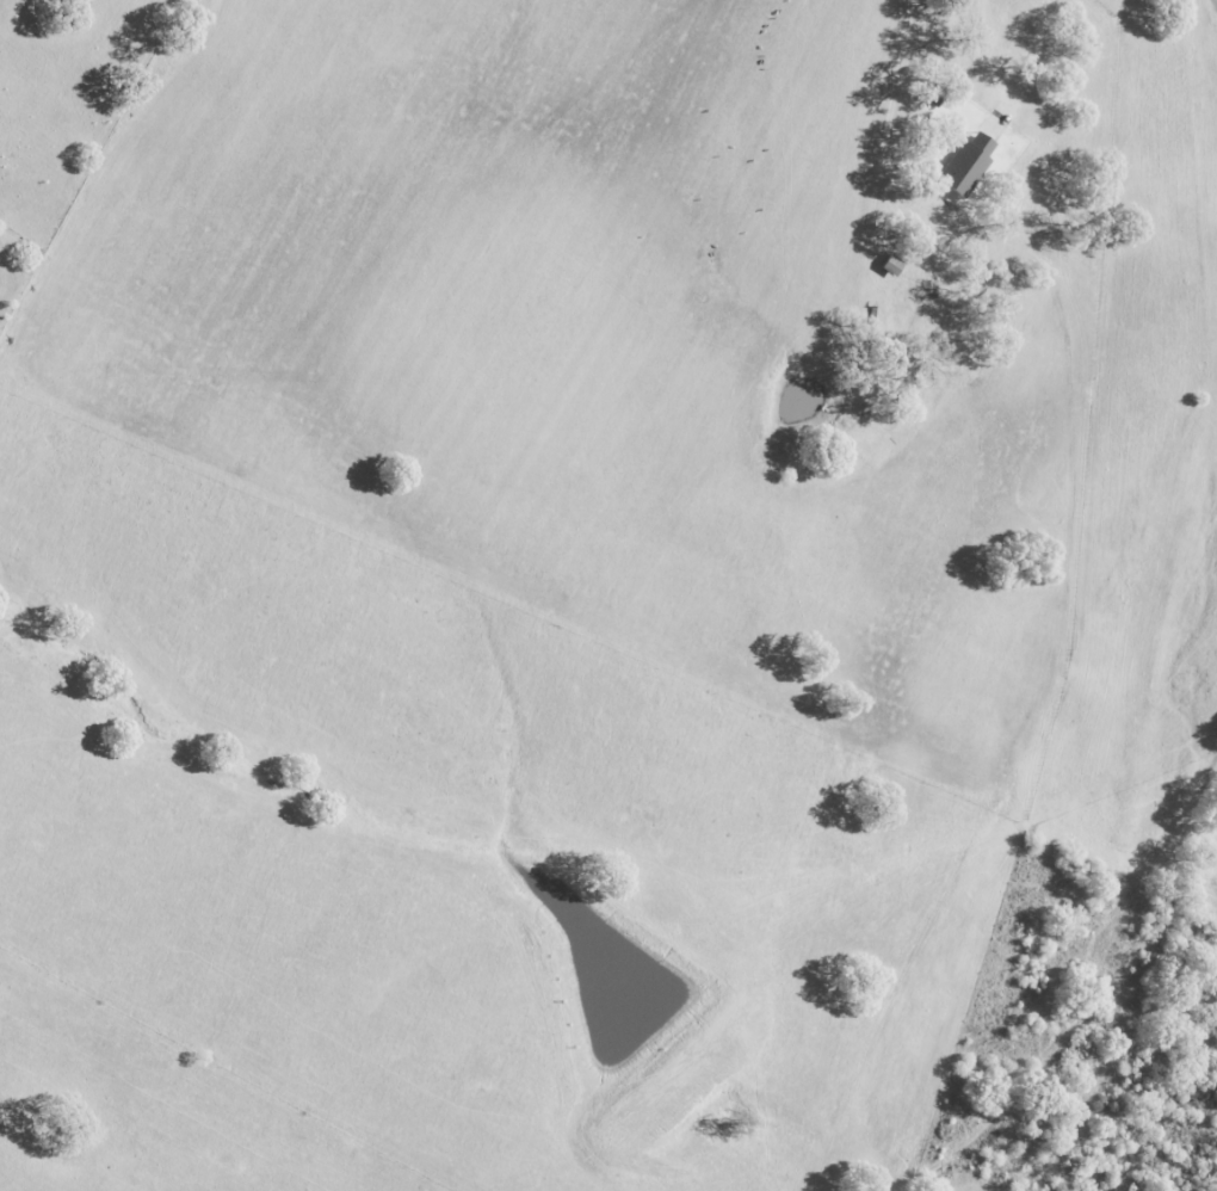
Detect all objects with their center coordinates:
road: (987, 53)
building: (972, 162)

